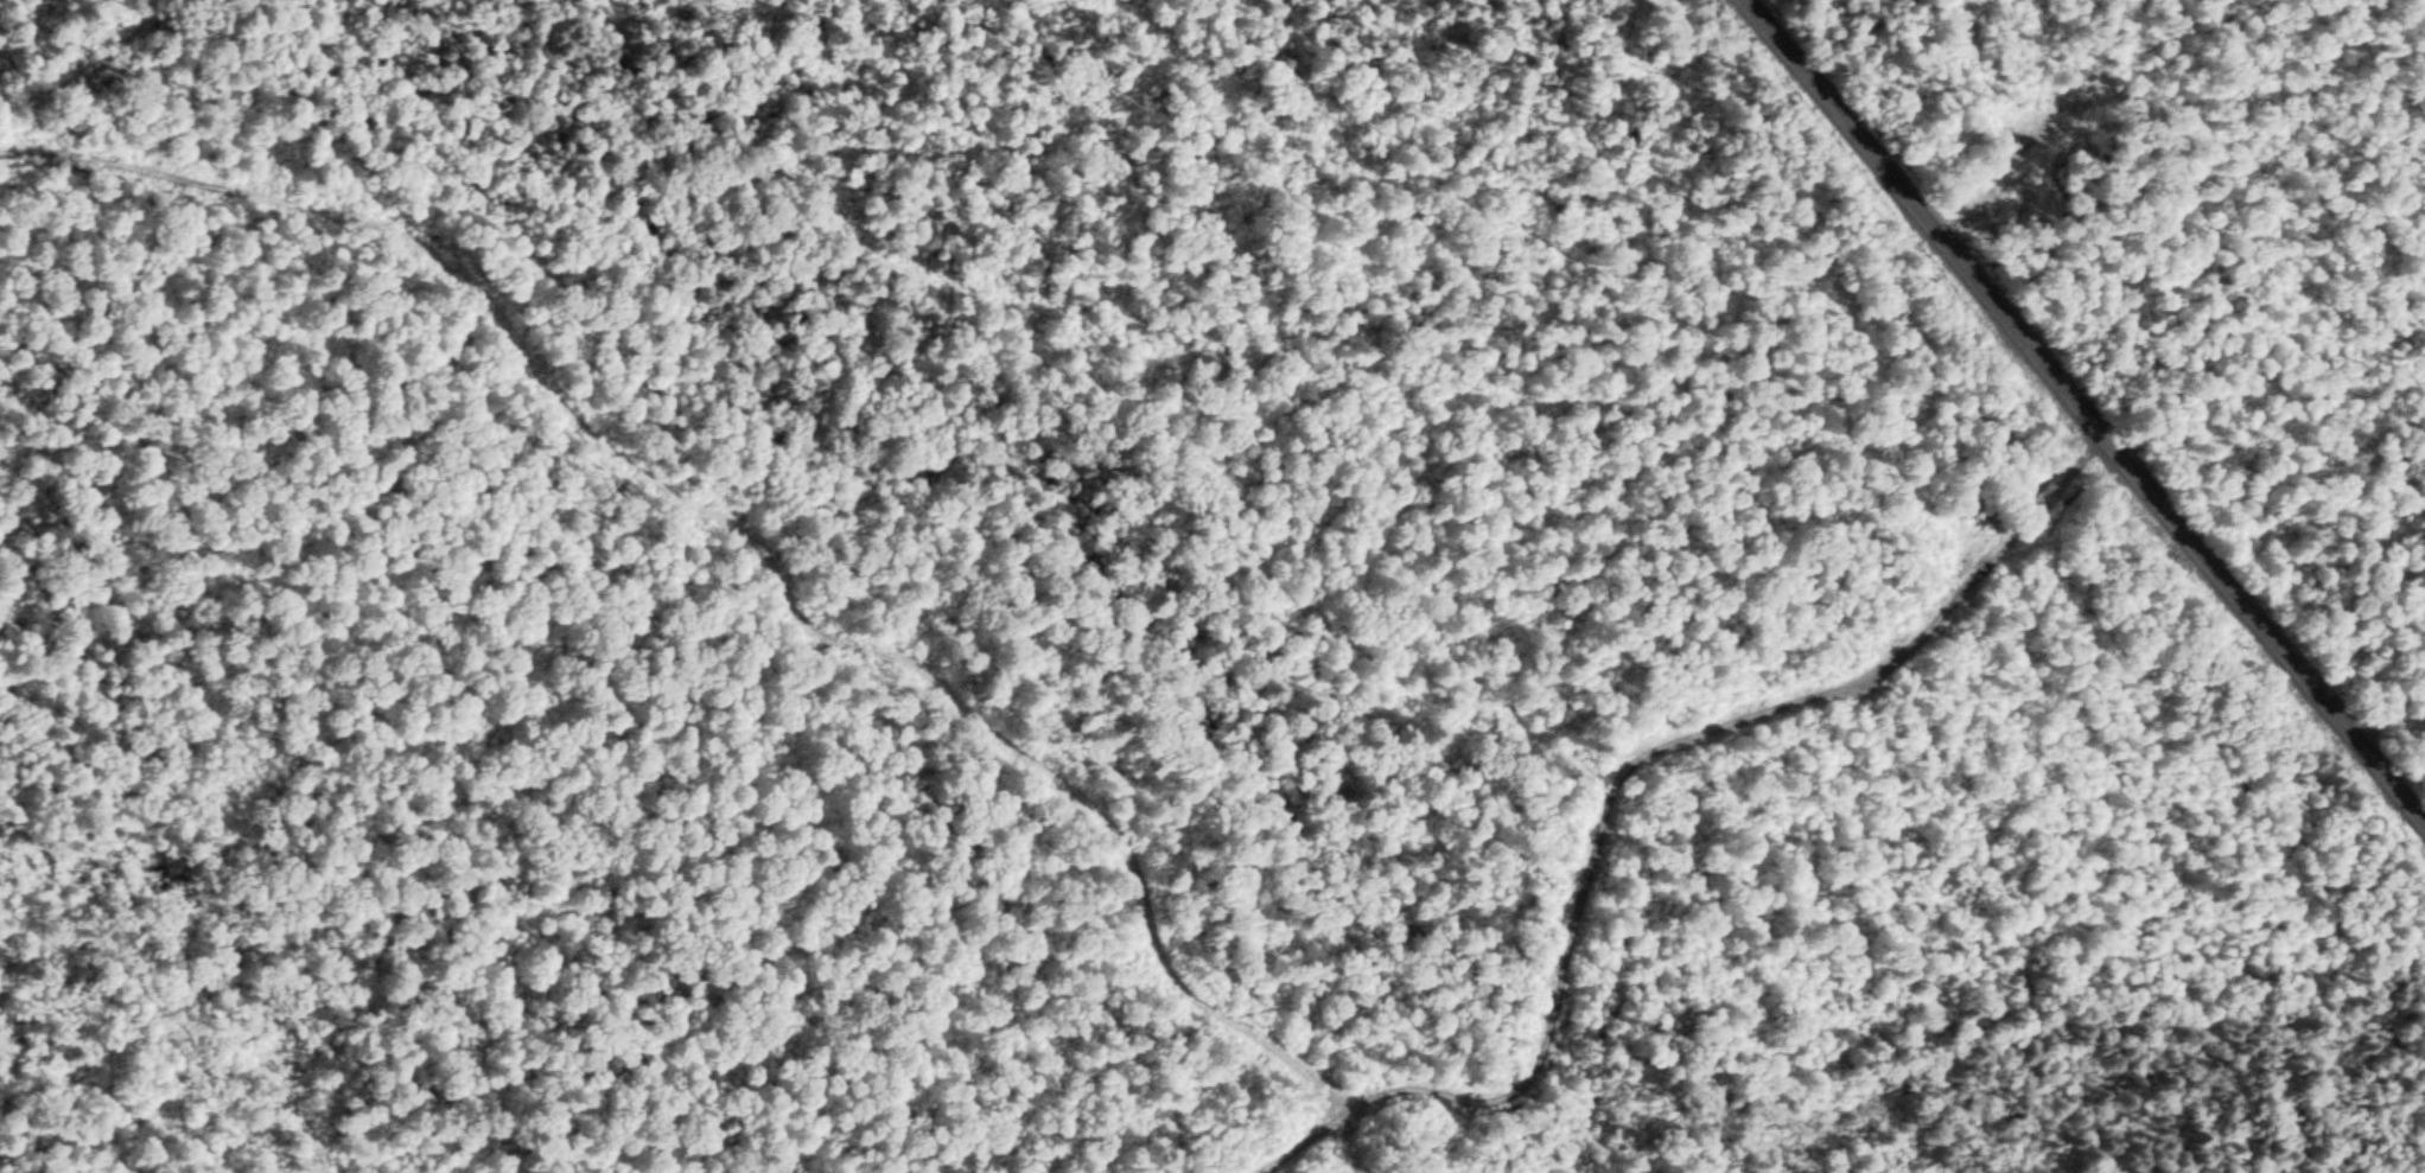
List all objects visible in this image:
road: (2092, 409)
road: (740, 515)
road: (2389, 727)
road: (1611, 779)

